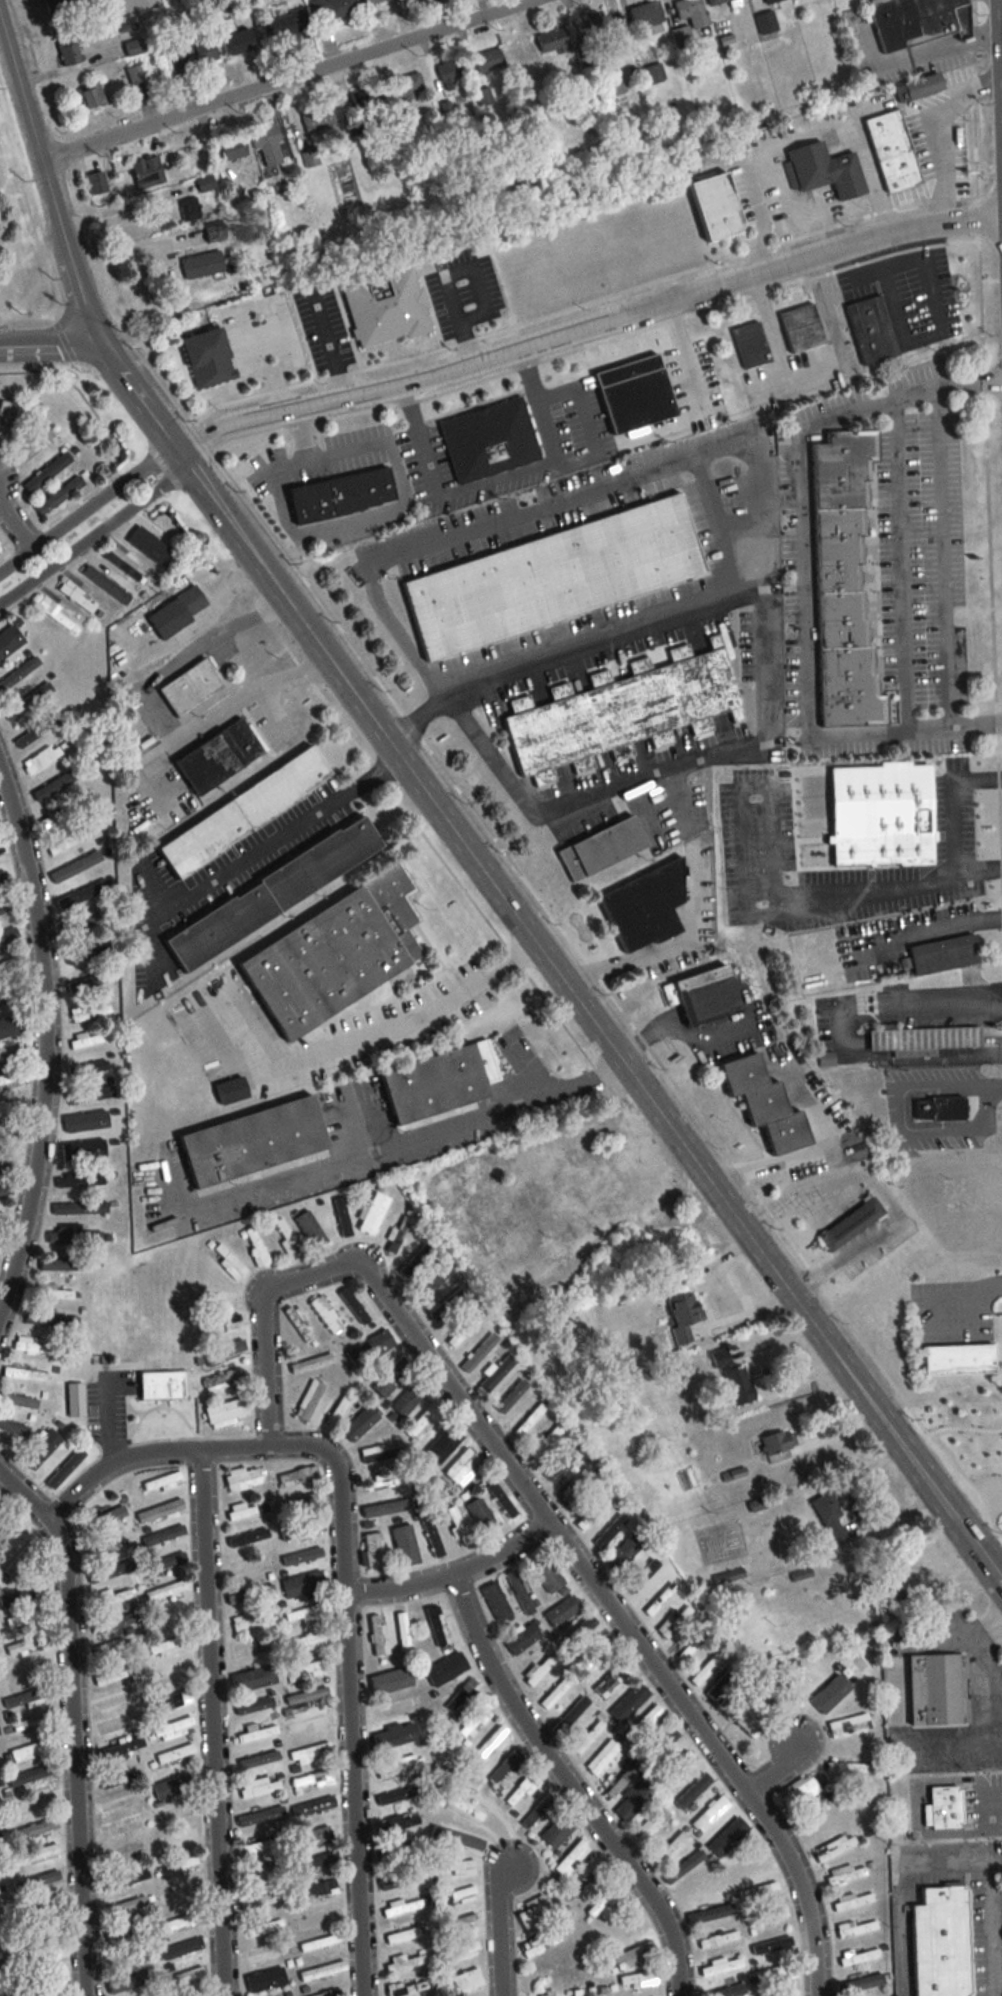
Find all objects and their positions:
building: (772, 1)
building: (372, 2)
building: (716, 2)
building: (61, 6)
building: (331, 8)
building: (692, 12)
building: (646, 14)
building: (913, 21)
building: (767, 22)
building: (285, 23)
building: (598, 23)
building: (553, 40)
building: (237, 42)
building: (134, 46)
building: (68, 50)
building: (193, 52)
road: (915, 56)
building: (489, 59)
building: (136, 73)
building: (449, 73)
building: (653, 74)
road: (288, 81)
building: (613, 83)
building: (409, 86)
building: (924, 86)
building: (92, 94)
building: (366, 97)
building: (319, 119)
road: (944, 132)
building: (268, 145)
building: (233, 147)
building: (893, 151)
building: (310, 157)
building: (826, 170)
building: (150, 174)
building: (97, 183)
building: (716, 206)
road: (119, 207)
building: (189, 209)
building: (214, 233)
road: (130, 249)
building: (202, 264)
road: (448, 274)
building: (386, 308)
road: (89, 327)
road: (586, 327)
building: (802, 328)
building: (872, 330)
road: (917, 344)
building: (751, 345)
road: (49, 348)
building: (207, 357)
road: (815, 364)
building: (635, 396)
building: (6, 419)
building: (487, 439)
building: (36, 445)
building: (47, 472)
road: (531, 472)
road: (585, 492)
building: (58, 493)
building: (338, 494)
road: (788, 502)
road: (86, 508)
road: (397, 510)
road: (92, 531)
road: (23, 535)
building: (145, 549)
building: (0, 552)
road: (947, 559)
building: (121, 563)
road: (903, 567)
road: (806, 574)
building: (553, 577)
building: (844, 583)
building: (105, 585)
building: (76, 597)
building: (176, 612)
building: (54, 613)
building: (9, 641)
road: (767, 657)
building: (18, 673)
building: (190, 688)
building: (27, 702)
building: (622, 711)
road: (163, 716)
building: (33, 733)
building: (218, 757)
building: (41, 759)
building: (54, 788)
road: (954, 803)
building: (245, 813)
building: (62, 814)
building: (883, 815)
building: (67, 842)
road: (274, 843)
building: (603, 849)
building: (1, 850)
building: (73, 868)
road: (938, 876)
building: (3, 880)
building: (273, 893)
building: (6, 907)
building: (646, 907)
building: (79, 922)
road: (951, 927)
building: (8, 936)
road: (669, 947)
building: (333, 954)
building: (945, 956)
building: (10, 966)
building: (87, 982)
building: (704, 996)
building: (7, 997)
building: (99, 1011)
building: (78, 1014)
building: (9, 1027)
road: (678, 1030)
road: (373, 1031)
building: (926, 1039)
building: (88, 1040)
road: (843, 1040)
road: (44, 1044)
building: (12, 1052)
building: (89, 1066)
building: (11, 1079)
road: (997, 1082)
building: (440, 1083)
road: (636, 1083)
building: (232, 1091)
building: (91, 1095)
building: (767, 1105)
building: (10, 1109)
building: (941, 1109)
building: (88, 1124)
road: (900, 1124)
building: (9, 1137)
building: (254, 1143)
road: (376, 1151)
building: (81, 1152)
road: (812, 1152)
building: (5, 1164)
building: (80, 1181)
building: (4, 1192)
road: (877, 1198)
building: (79, 1208)
building: (339, 1212)
building: (374, 1214)
building: (852, 1224)
building: (311, 1230)
building: (64, 1235)
building: (398, 1235)
building: (93, 1237)
building: (286, 1238)
building: (255, 1247)
building: (414, 1260)
building: (229, 1263)
building: (60, 1265)
road: (309, 1280)
building: (431, 1282)
building: (51, 1292)
building: (217, 1294)
road: (972, 1300)
building: (448, 1304)
building: (325, 1315)
building: (686, 1318)
building: (49, 1320)
building: (297, 1324)
building: (220, 1325)
building: (464, 1329)
building: (34, 1346)
building: (370, 1348)
building: (480, 1352)
building: (960, 1359)
building: (311, 1363)
building: (497, 1373)
building: (25, 1374)
road: (264, 1377)
building: (392, 1377)
building: (223, 1380)
building: (739, 1383)
building: (162, 1385)
building: (508, 1392)
building: (409, 1398)
building: (75, 1399)
building: (309, 1399)
building: (18, 1401)
building: (978, 1402)
building: (338, 1409)
building: (226, 1412)
building: (423, 1422)
building: (360, 1424)
building: (13, 1427)
building: (544, 1440)
building: (444, 1443)
building: (779, 1445)
building: (41, 1449)
road: (180, 1454)
building: (378, 1454)
building: (562, 1463)
building: (65, 1468)
building: (463, 1468)
building: (244, 1478)
building: (386, 1480)
building: (161, 1482)
building: (576, 1485)
building: (756, 1505)
building: (0, 1507)
building: (378, 1509)
building: (594, 1510)
building: (160, 1511)
building: (110, 1515)
building: (481, 1515)
building: (830, 1517)
building: (457, 1526)
building: (302, 1529)
building: (607, 1530)
building: (8, 1531)
building: (163, 1535)
building: (429, 1536)
building: (245, 1540)
building: (403, 1545)
building: (112, 1551)
building: (372, 1552)
building: (624, 1552)
building: (301, 1557)
building: (19, 1559)
building: (163, 1563)
road: (995, 1569)
building: (643, 1571)
building: (111, 1572)
building: (547, 1574)
road: (451, 1577)
building: (725, 1580)
building: (302, 1584)
building: (166, 1590)
building: (520, 1592)
building: (19, 1594)
building: (250, 1594)
building: (660, 1600)
building: (496, 1601)
building: (563, 1610)
building: (306, 1614)
building: (24, 1618)
building: (172, 1618)
road: (616, 1619)
building: (675, 1621)
building: (116, 1623)
building: (437, 1624)
building: (403, 1632)
building: (578, 1632)
building: (378, 1636)
building: (312, 1640)
building: (26, 1644)
building: (170, 1646)
building: (110, 1648)
building: (246, 1649)
road: (977, 1655)
building: (595, 1656)
building: (443, 1666)
building: (708, 1666)
building: (540, 1668)
building: (28, 1670)
building: (305, 1670)
building: (167, 1674)
building: (112, 1675)
building: (254, 1678)
building: (390, 1679)
building: (609, 1681)
building: (722, 1685)
building: (794, 1686)
building: (935, 1688)
building: (555, 1693)
building: (462, 1696)
building: (765, 1696)
building: (830, 1696)
building: (117, 1697)
building: (307, 1697)
building: (171, 1701)
building: (630, 1702)
building: (254, 1705)
building: (392, 1710)
building: (571, 1714)
building: (743, 1719)
building: (476, 1721)
road: (71, 1723)
building: (645, 1723)
road: (210, 1724)
building: (114, 1725)
building: (310, 1725)
building: (848, 1725)
building: (172, 1729)
road: (350, 1730)
building: (256, 1733)
building: (490, 1743)
building: (661, 1745)
building: (120, 1749)
building: (31, 1750)
building: (174, 1754)
building: (310, 1754)
building: (602, 1756)
building: (254, 1759)
building: (396, 1766)
building: (679, 1766)
building: (504, 1767)
building: (847, 1767)
road: (777, 1770)
building: (31, 1775)
building: (312, 1781)
building: (172, 1787)
building: (257, 1787)
road: (567, 1787)
building: (521, 1790)
building: (693, 1791)
building: (798, 1792)
building: (120, 1800)
building: (634, 1801)
building: (32, 1804)
building: (315, 1806)
building: (945, 1806)
road: (978, 1807)
building: (463, 1811)
building: (537, 1811)
building: (173, 1813)
building: (710, 1814)
building: (260, 1816)
building: (652, 1825)
building: (35, 1829)
building: (557, 1831)
building: (727, 1836)
building: (314, 1837)
building: (177, 1840)
building: (261, 1845)
building: (670, 1845)
building: (835, 1847)
building: (35, 1854)
building: (124, 1855)
building: (571, 1858)
building: (683, 1866)
building: (175, 1868)
building: (453, 1868)
building: (260, 1871)
building: (844, 1875)
building: (586, 1878)
building: (124, 1879)
building: (400, 1880)
road: (904, 1886)
building: (319, 1889)
building: (757, 1890)
building: (177, 1894)
building: (454, 1896)
building: (262, 1899)
building: (851, 1900)
building: (602, 1902)
building: (48, 1903)
building: (124, 1906)
building: (402, 1907)
building: (535, 1910)
building: (710, 1913)
building: (766, 1916)
building: (309, 1921)
building: (456, 1923)
building: (264, 1927)
building: (856, 1928)
road: (497, 1929)
road: (990, 1930)
building: (43, 1933)
building: (122, 1933)
building: (402, 1935)
building: (718, 1939)
building: (318, 1942)
building: (942, 1942)
building: (539, 1943)
building: (770, 1947)
building: (180, 1948)
building: (456, 1953)
building: (127, 1955)
building: (634, 1956)
building: (858, 1957)
building: (404, 1962)
building: (720, 1965)
building: (2, 1966)
building: (321, 1971)
building: (776, 1974)
building: (183, 1977)
building: (265, 1979)
building: (638, 1979)
building: (462, 1982)
building: (128, 1983)
building: (860, 1984)
building: (39, 1985)
building: (404, 1989)
building: (727, 1990)
building: (603, 1991)
building: (575, 1992)
building: (1, 1993)
building: (330, 1993)
building: (545, 1994)

